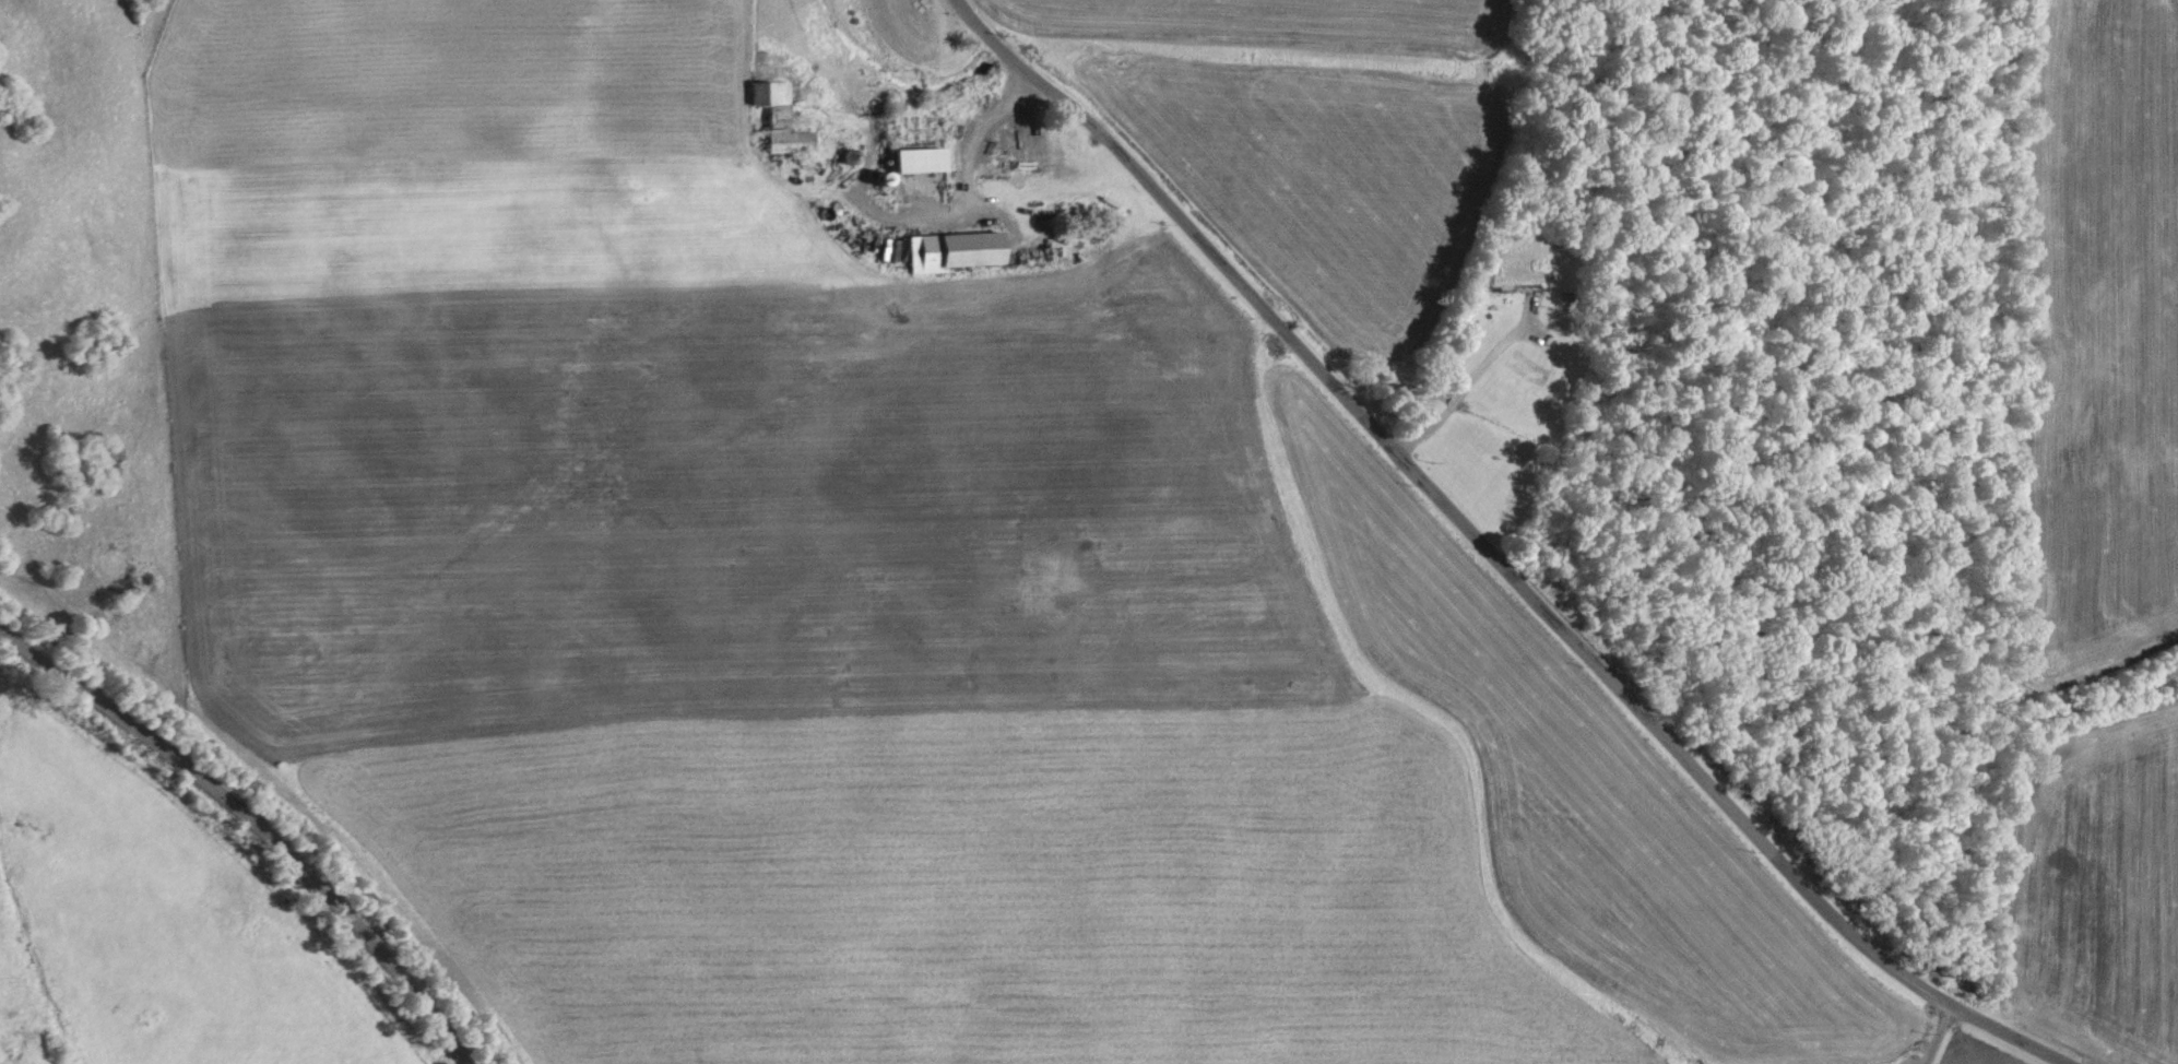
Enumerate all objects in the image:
building: (772, 91)
building: (792, 140)
building: (924, 158)
road: (967, 185)
building: (957, 250)
road: (1464, 389)
road: (1494, 556)
road: (253, 828)
road: (1936, 1032)

